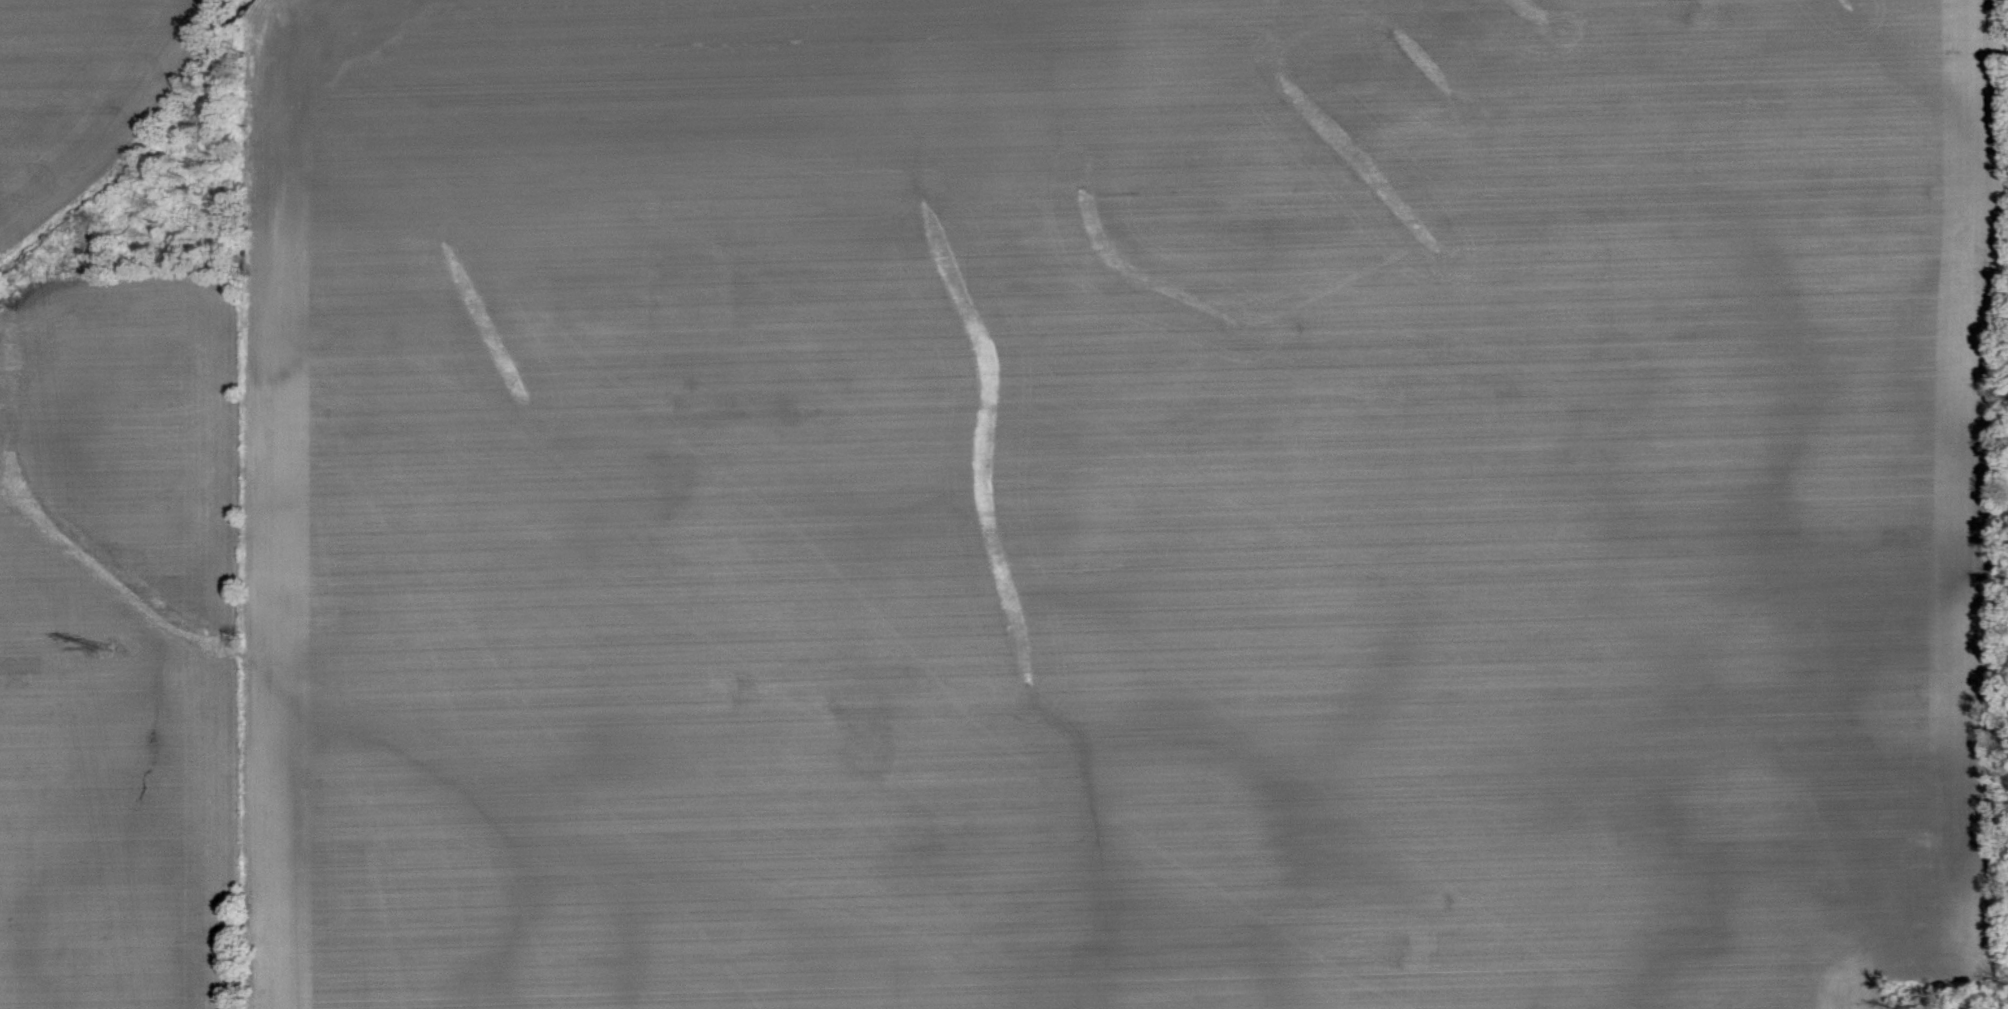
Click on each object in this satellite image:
power tower: (107, 657)

